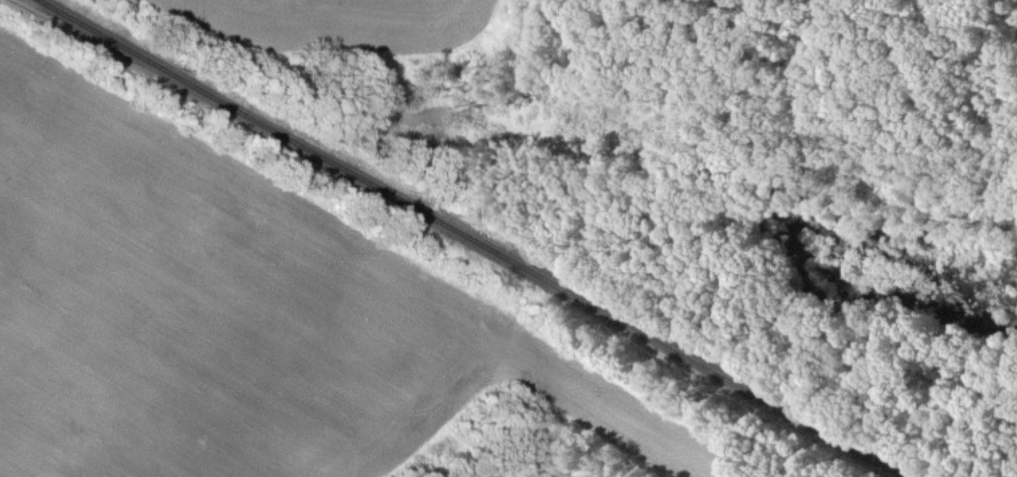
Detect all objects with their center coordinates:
railway: (477, 238)

